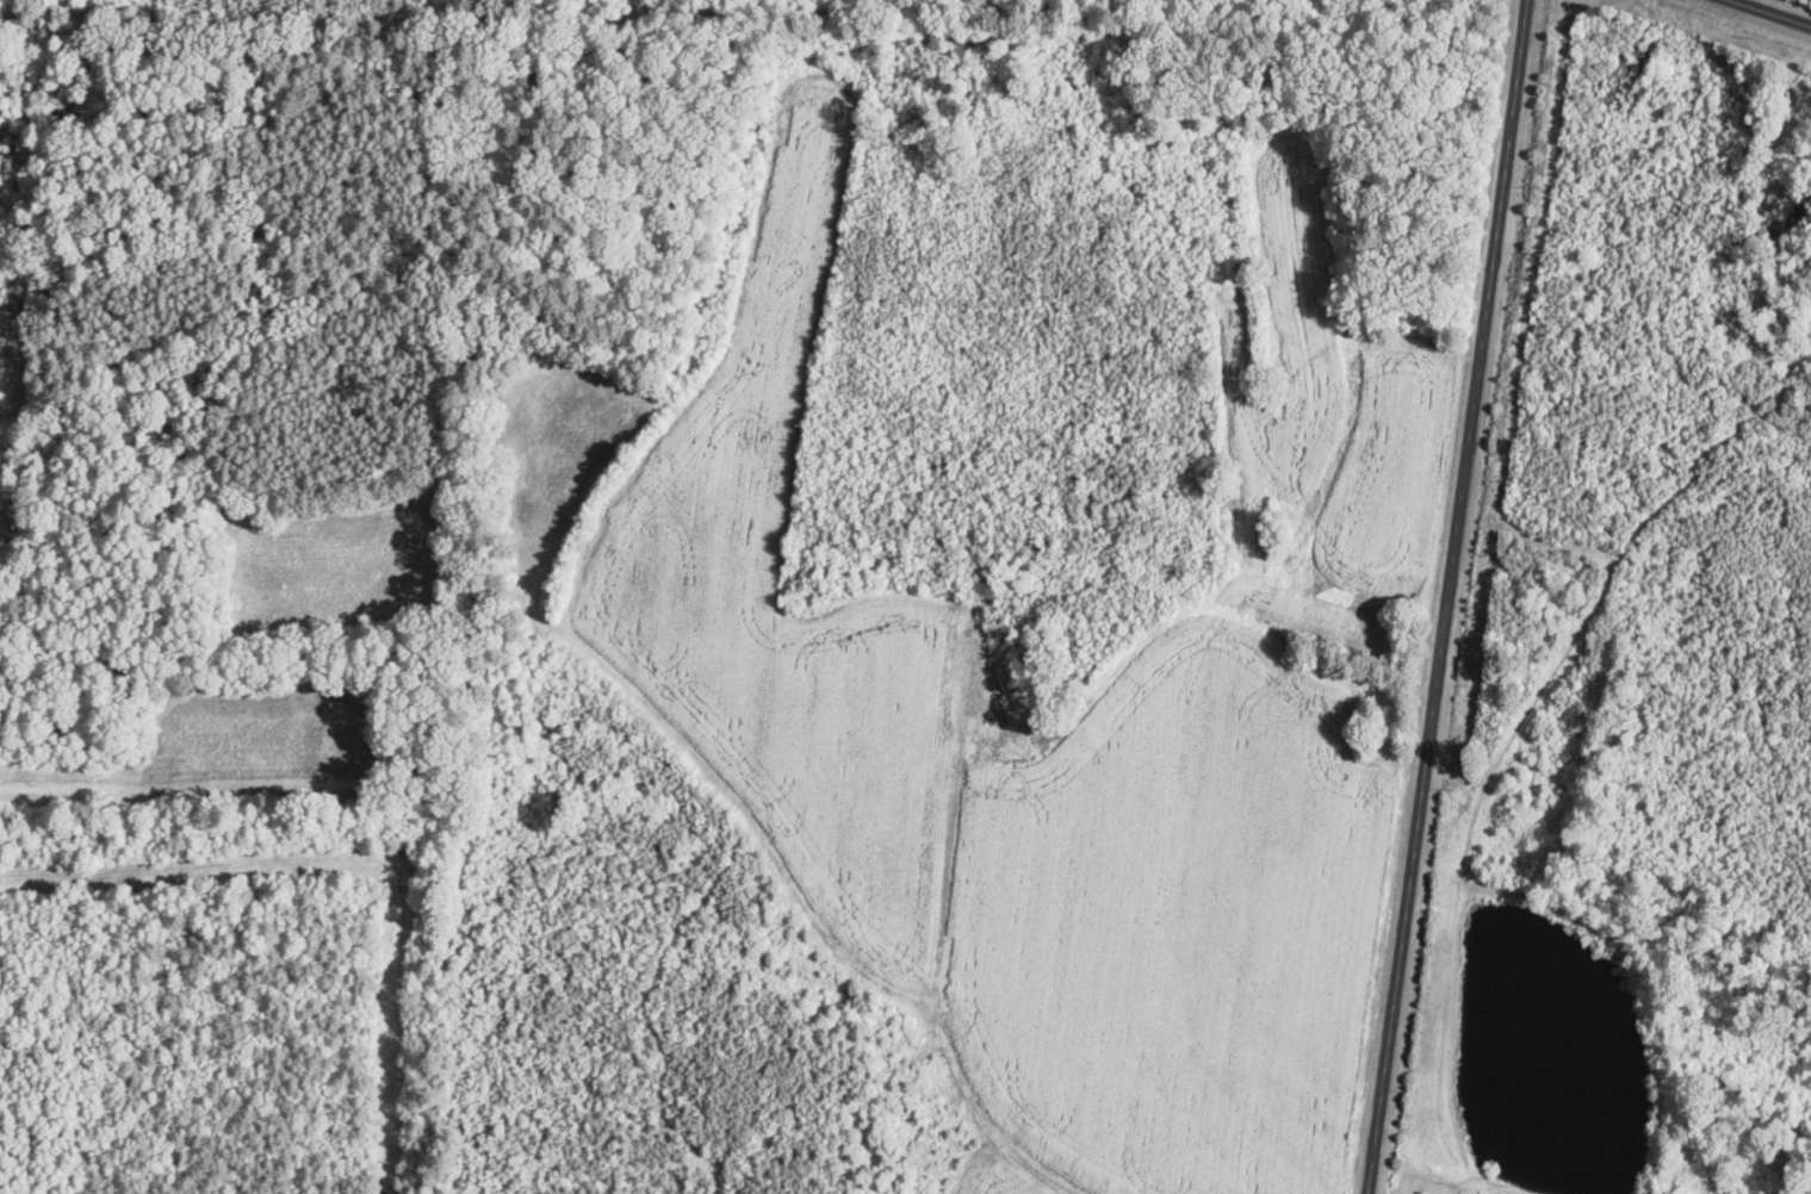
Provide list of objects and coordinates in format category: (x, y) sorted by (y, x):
road: (1774, 11)
road: (1451, 597)

